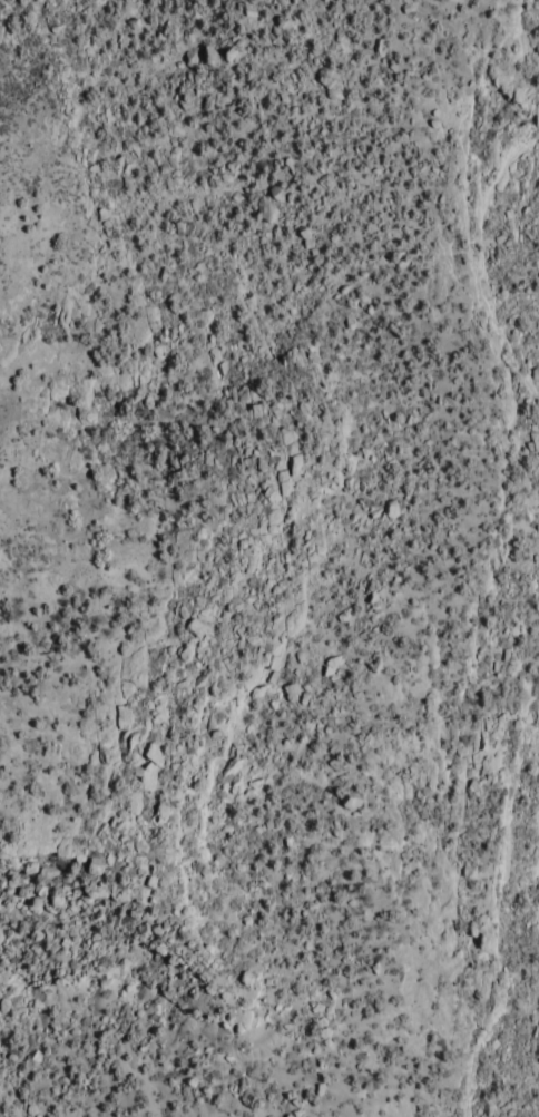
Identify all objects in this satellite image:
building: (351, 802)

